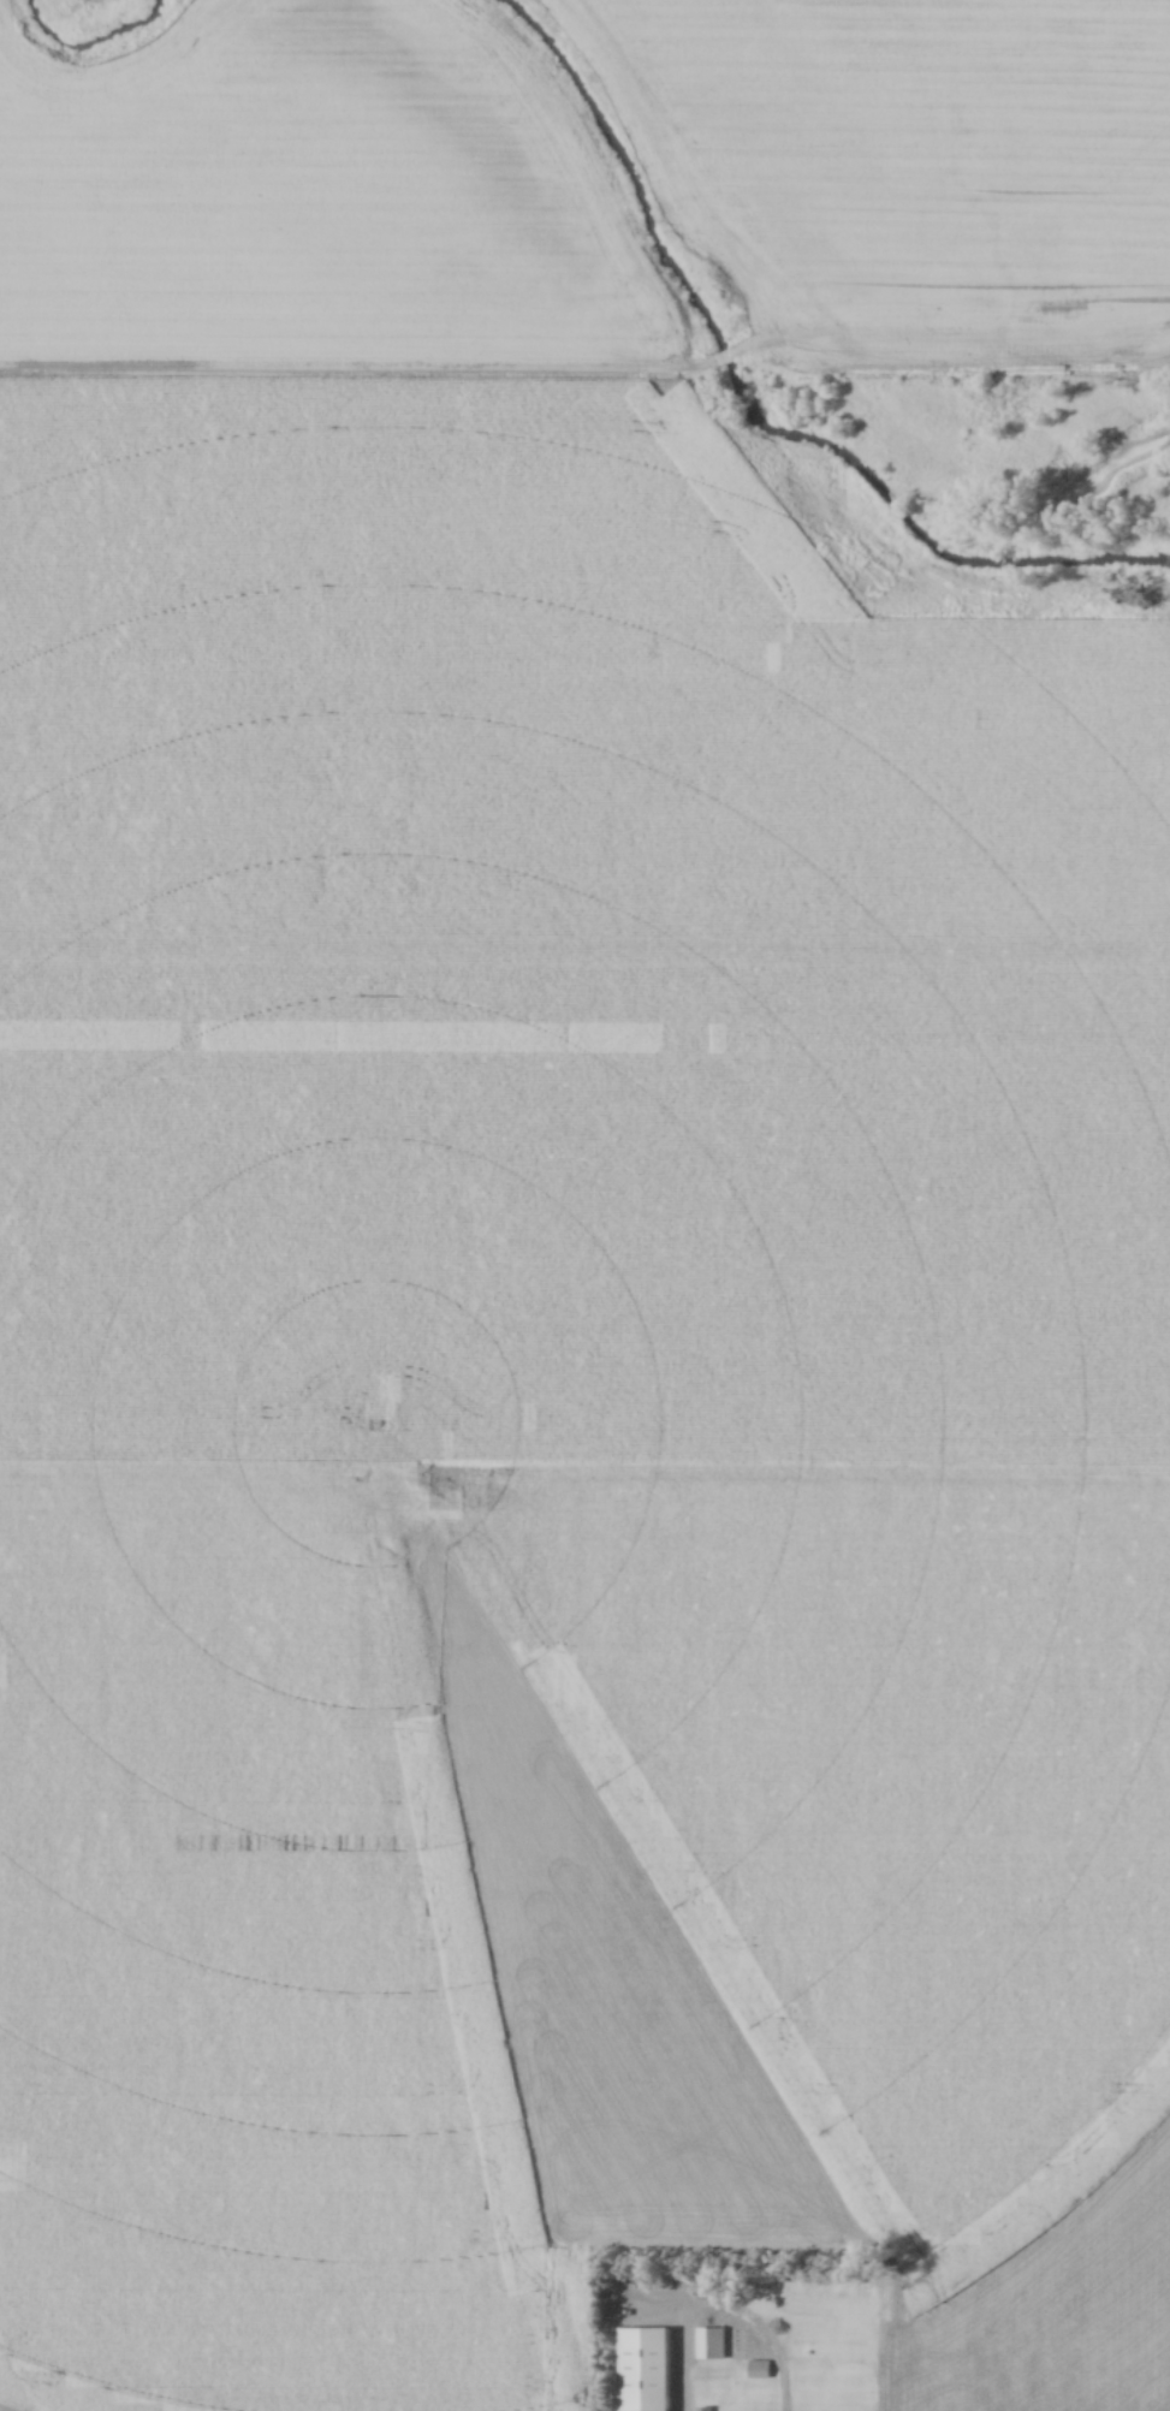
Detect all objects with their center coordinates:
crop: (920, 161)
building: (721, 360)
crop: (544, 1307)
road: (584, 1478)
road: (761, 2328)
building: (711, 2341)
road: (678, 2342)
building: (758, 2368)
building: (646, 2369)
building: (702, 2407)

